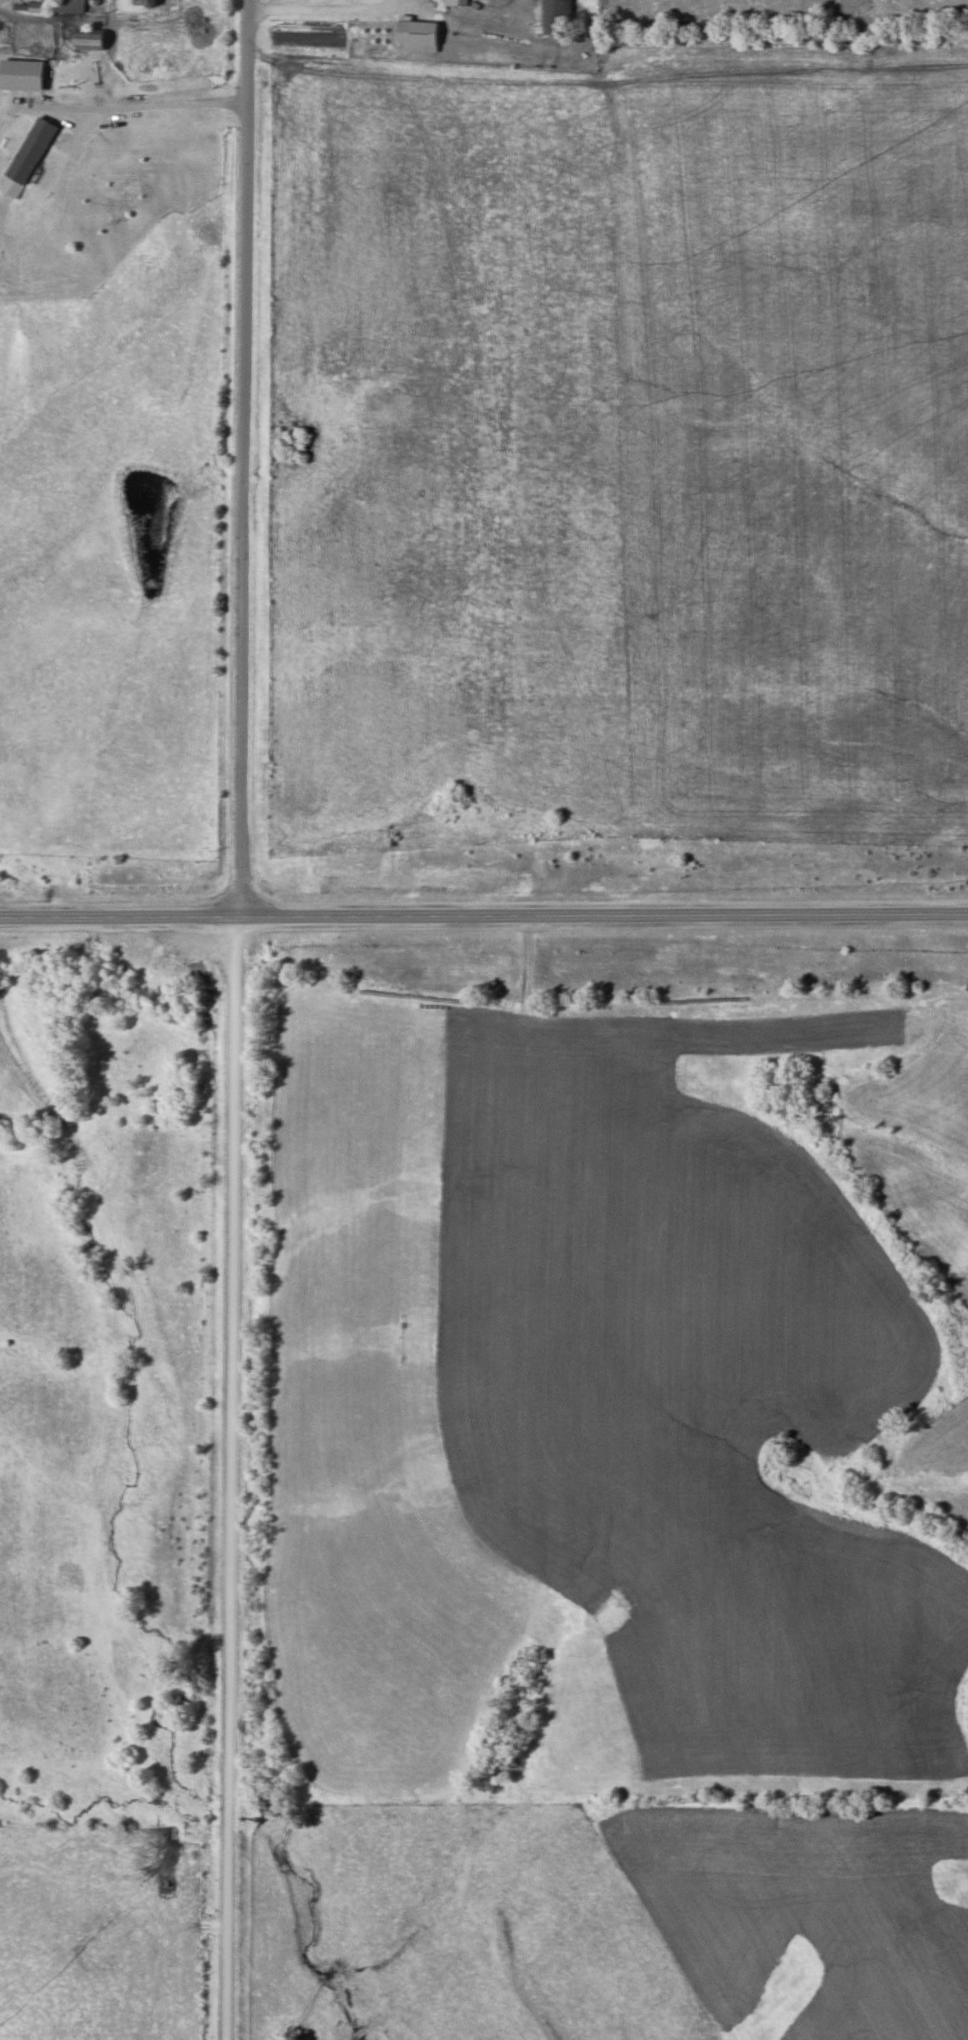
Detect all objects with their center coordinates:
building: (145, 3)
building: (49, 6)
road: (316, 7)
building: (552, 17)
building: (84, 39)
road: (483, 915)
road: (234, 1019)

